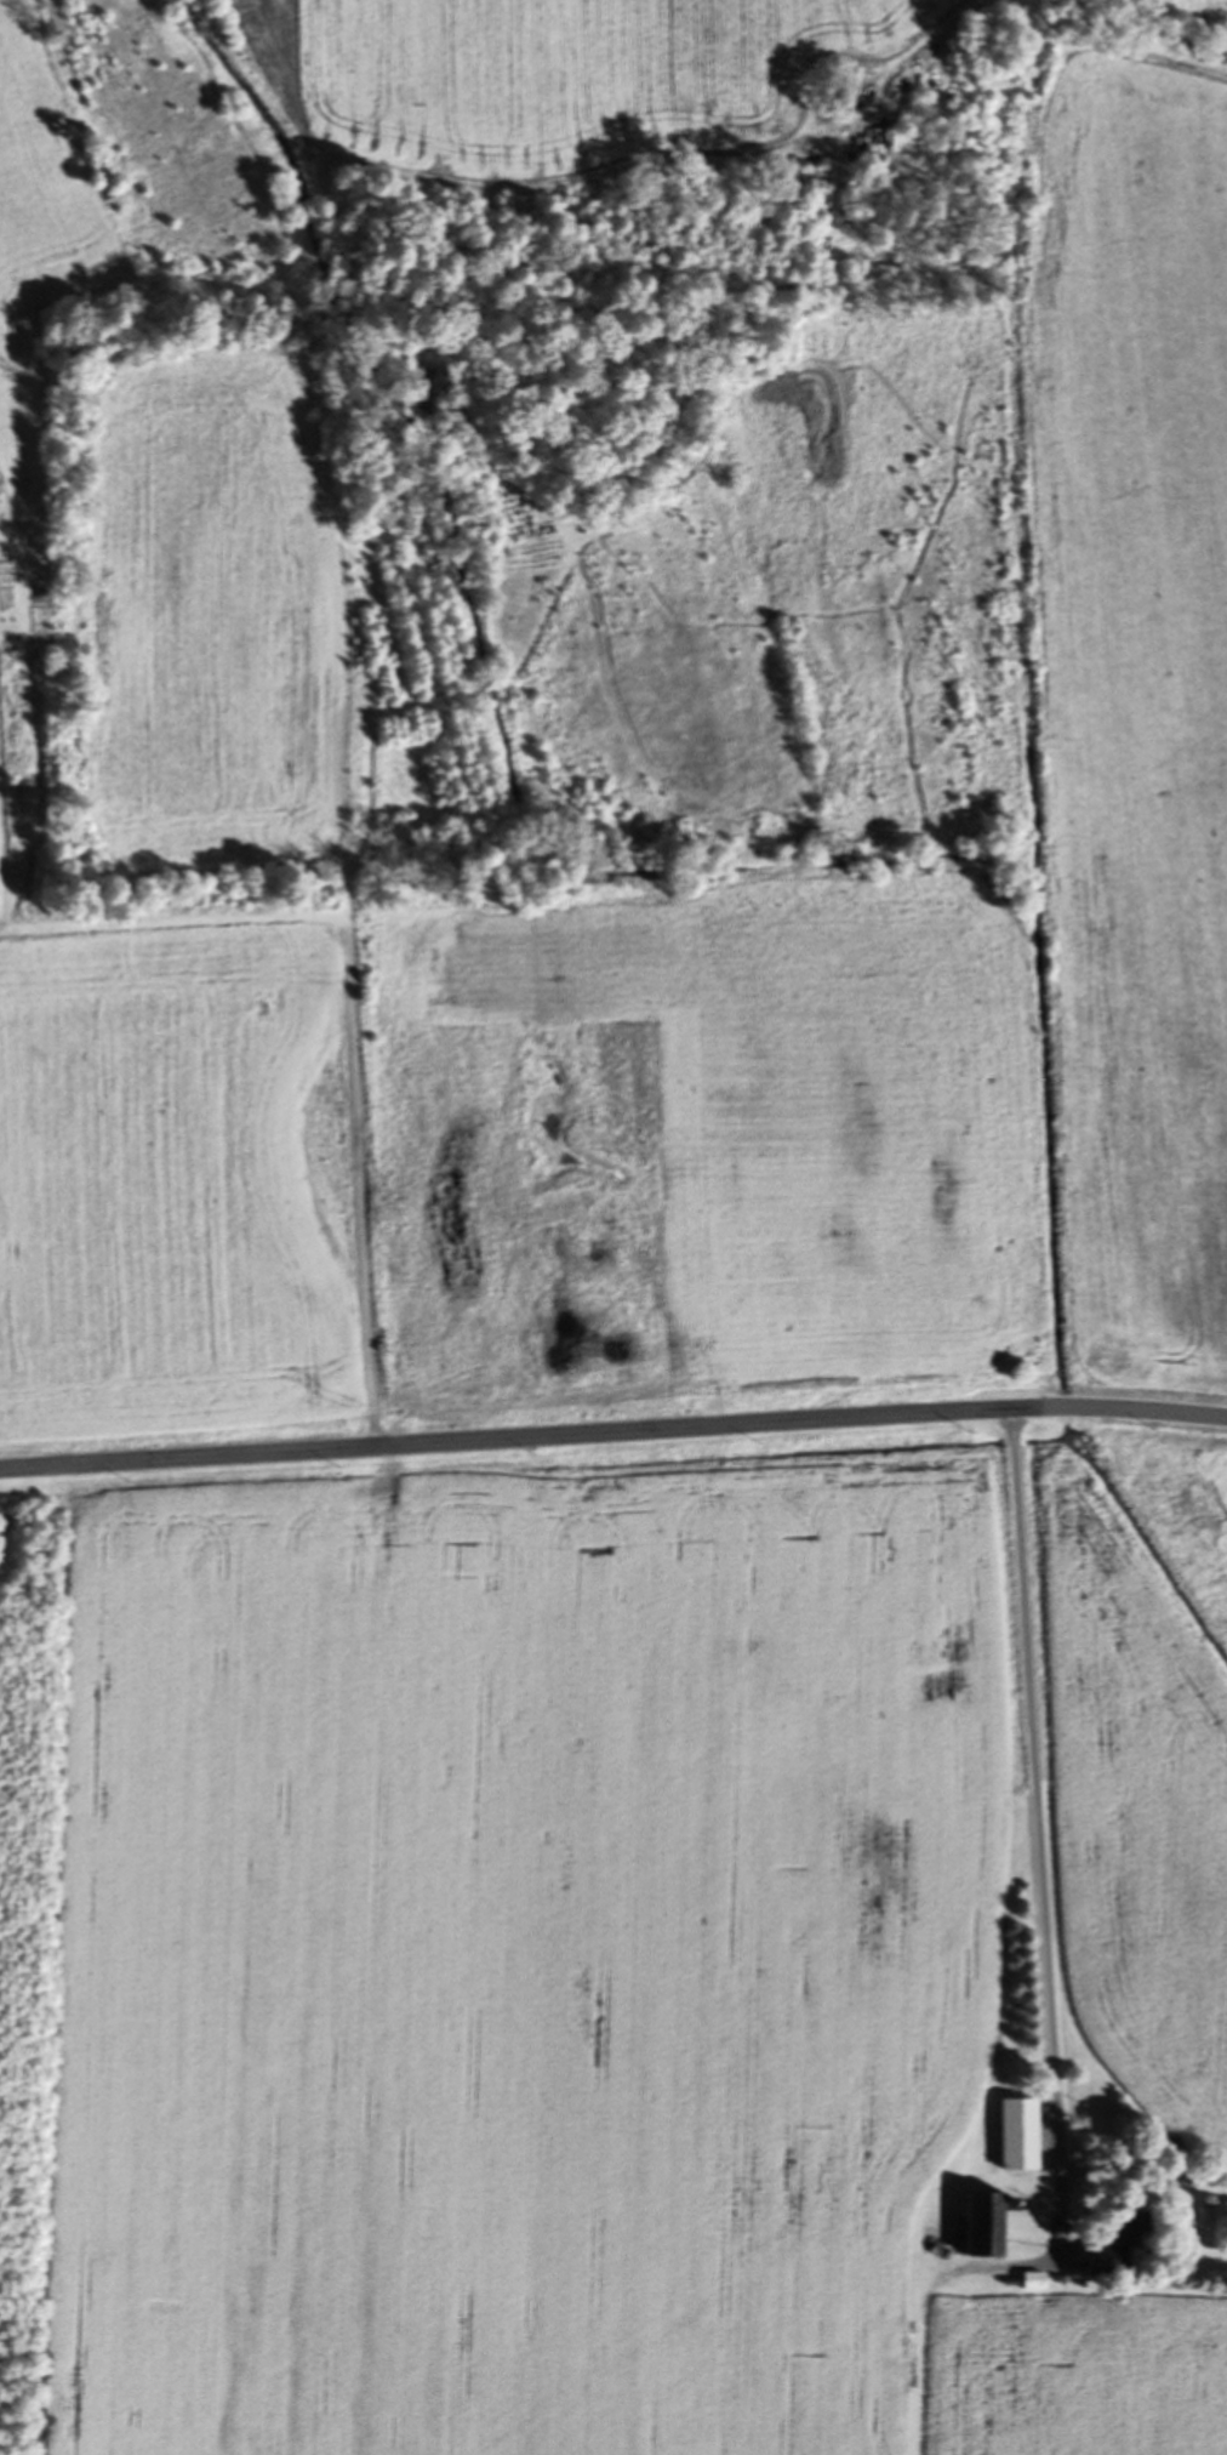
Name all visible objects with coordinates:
road: (613, 1428)
road: (1033, 1830)
building: (1020, 2138)
building: (1198, 2193)
building: (985, 2228)
building: (1131, 2233)
building: (1089, 2268)

